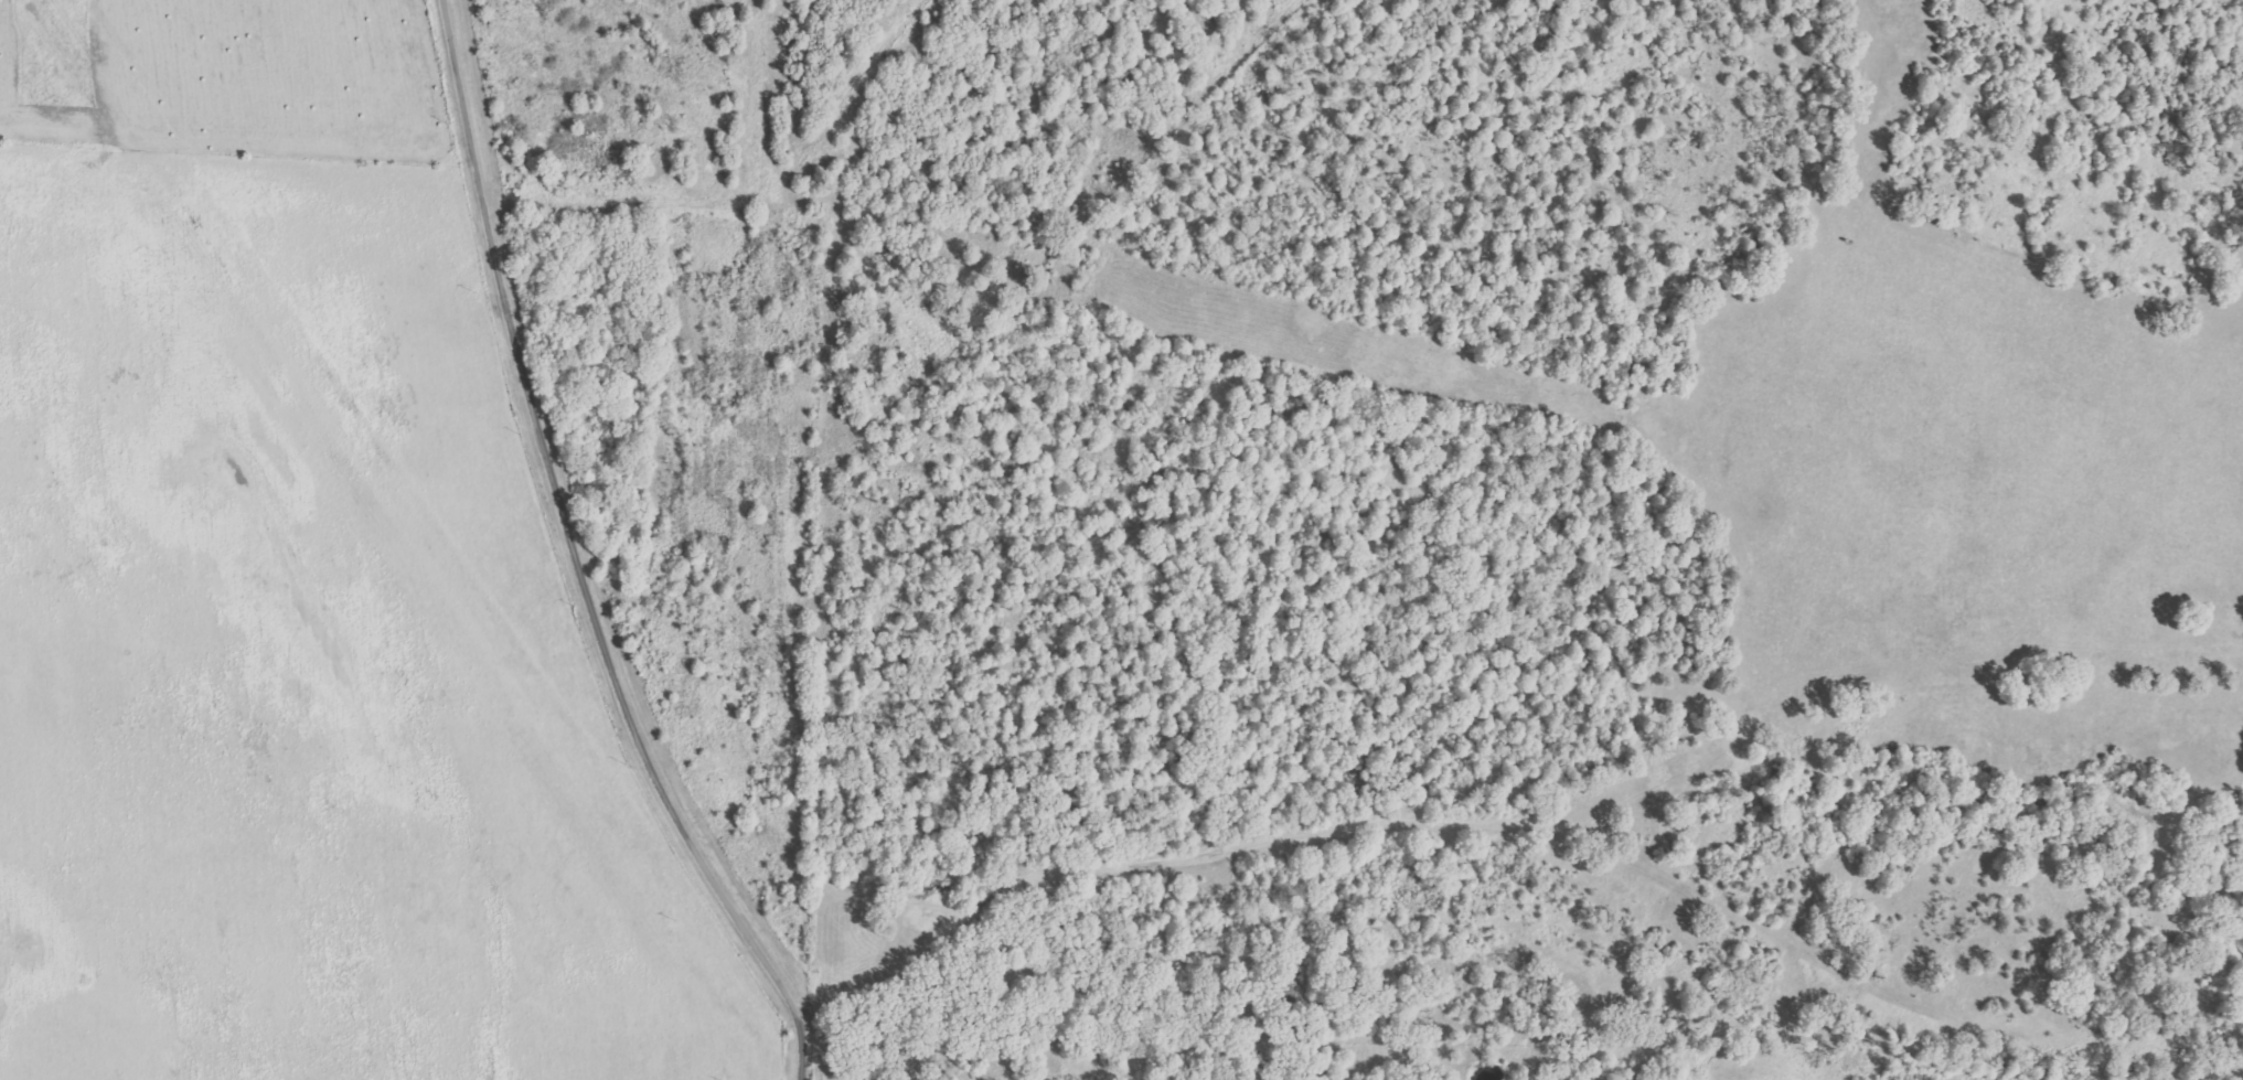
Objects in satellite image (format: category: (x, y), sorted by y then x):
road: (576, 558)

